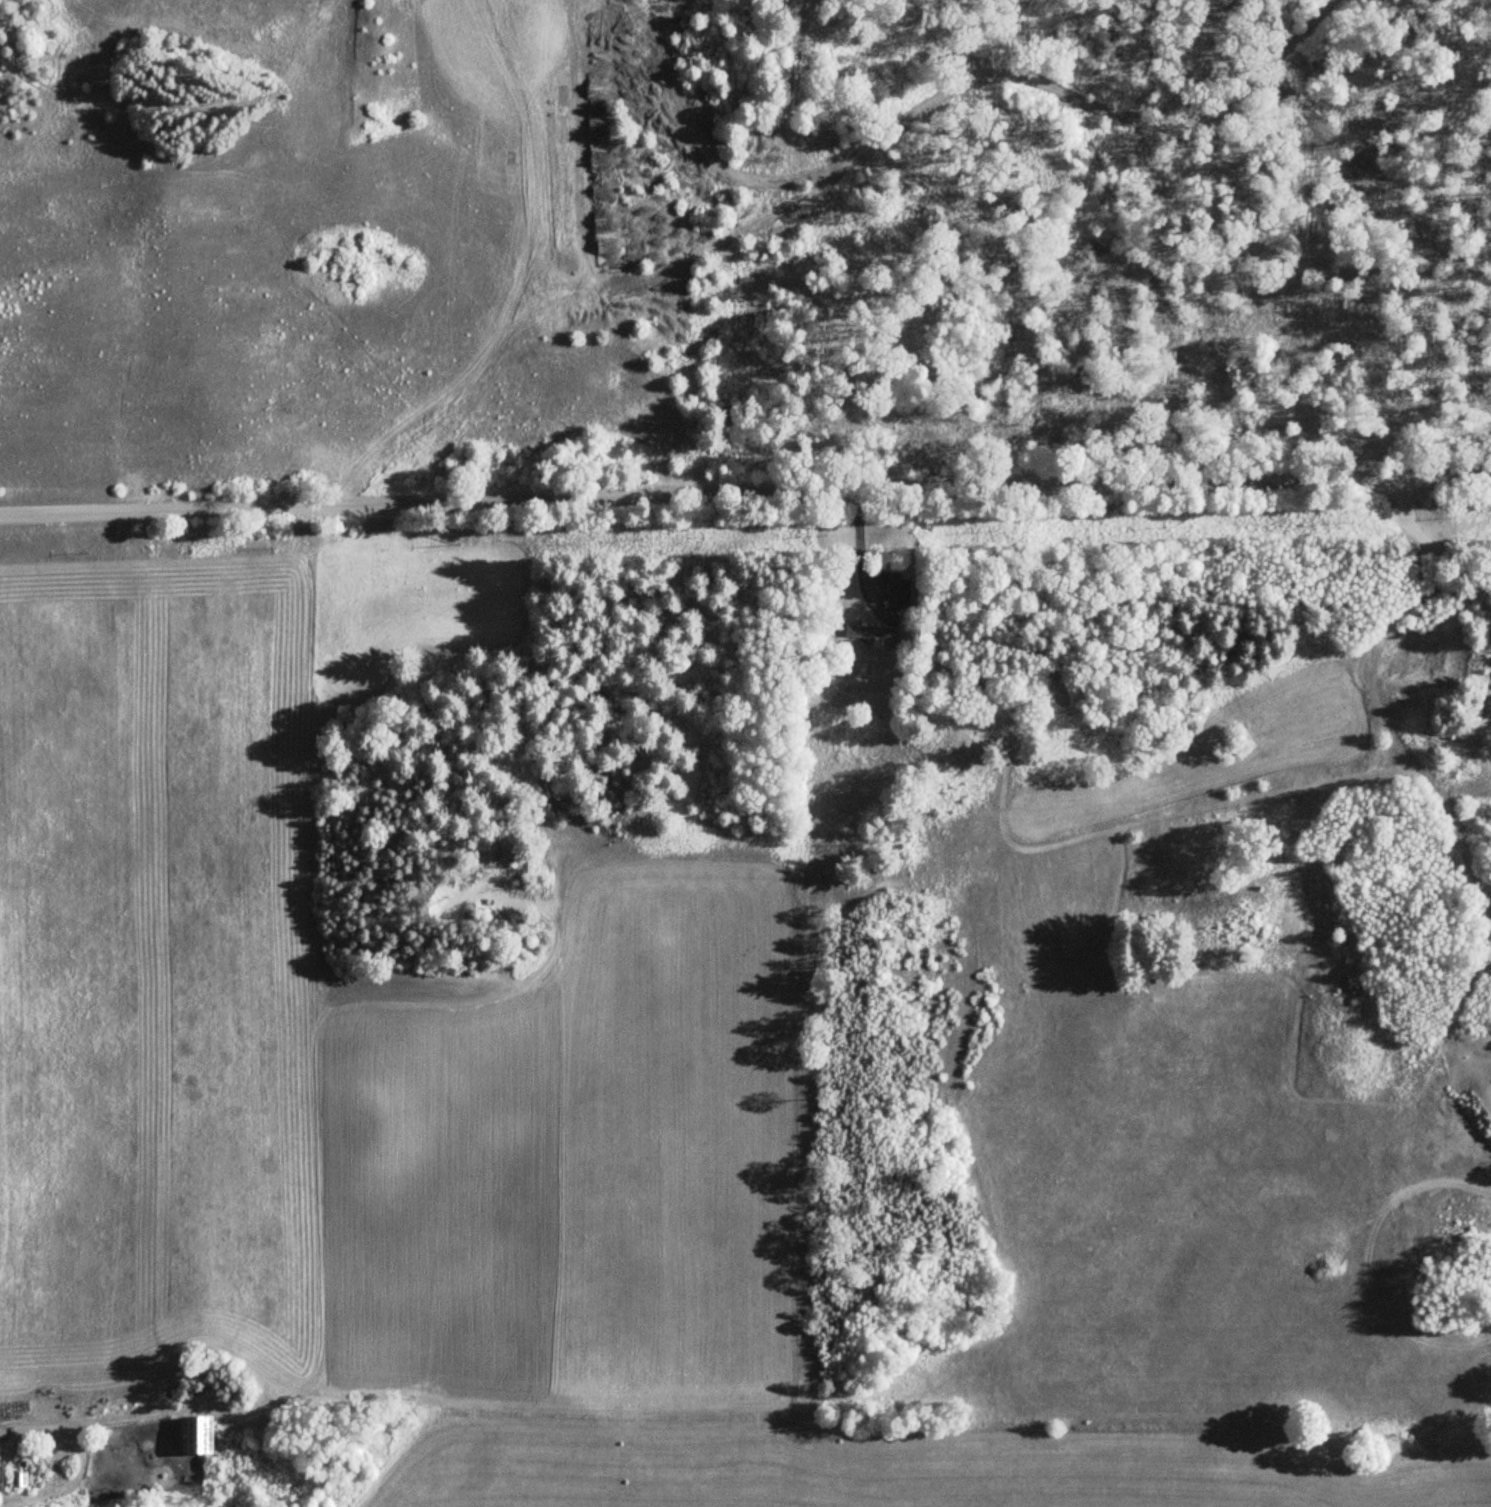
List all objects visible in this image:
road: (745, 496)
building: (899, 595)
building: (869, 634)
building: (194, 1437)

